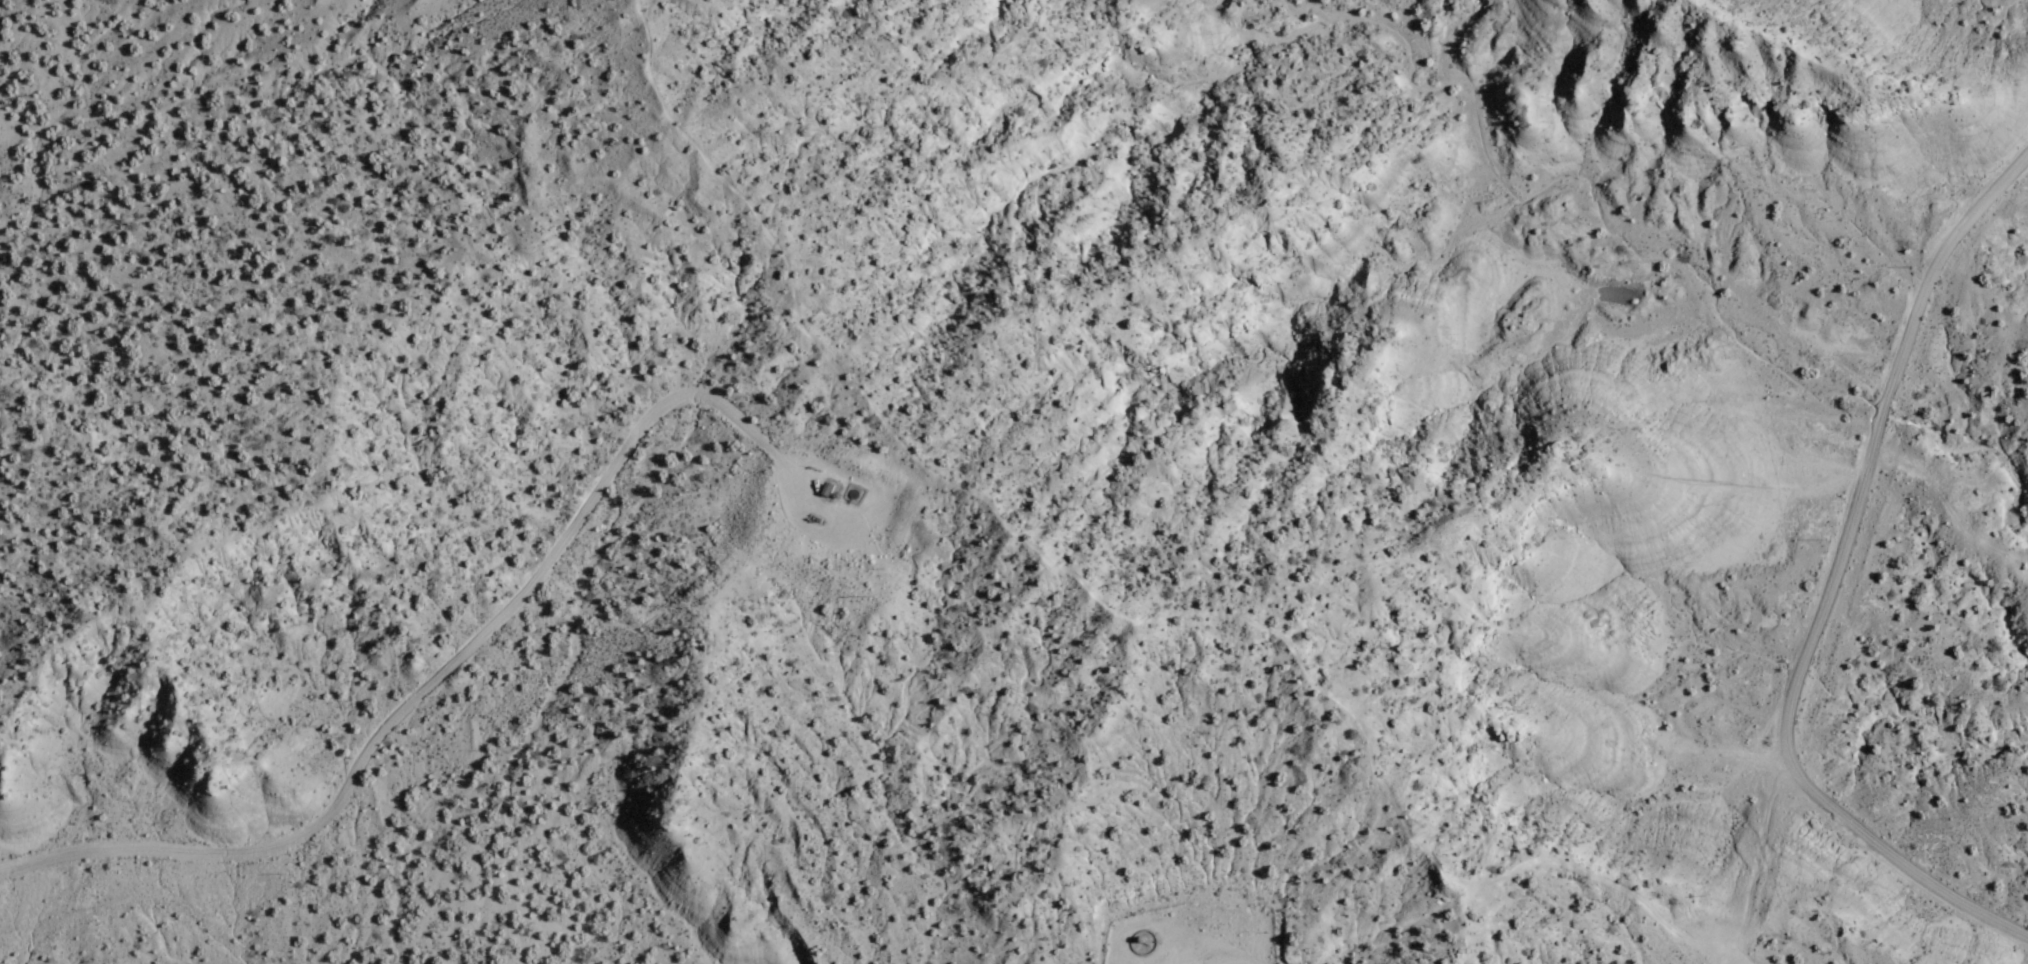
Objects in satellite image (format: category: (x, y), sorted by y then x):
road: (1822, 586)
road: (445, 665)

